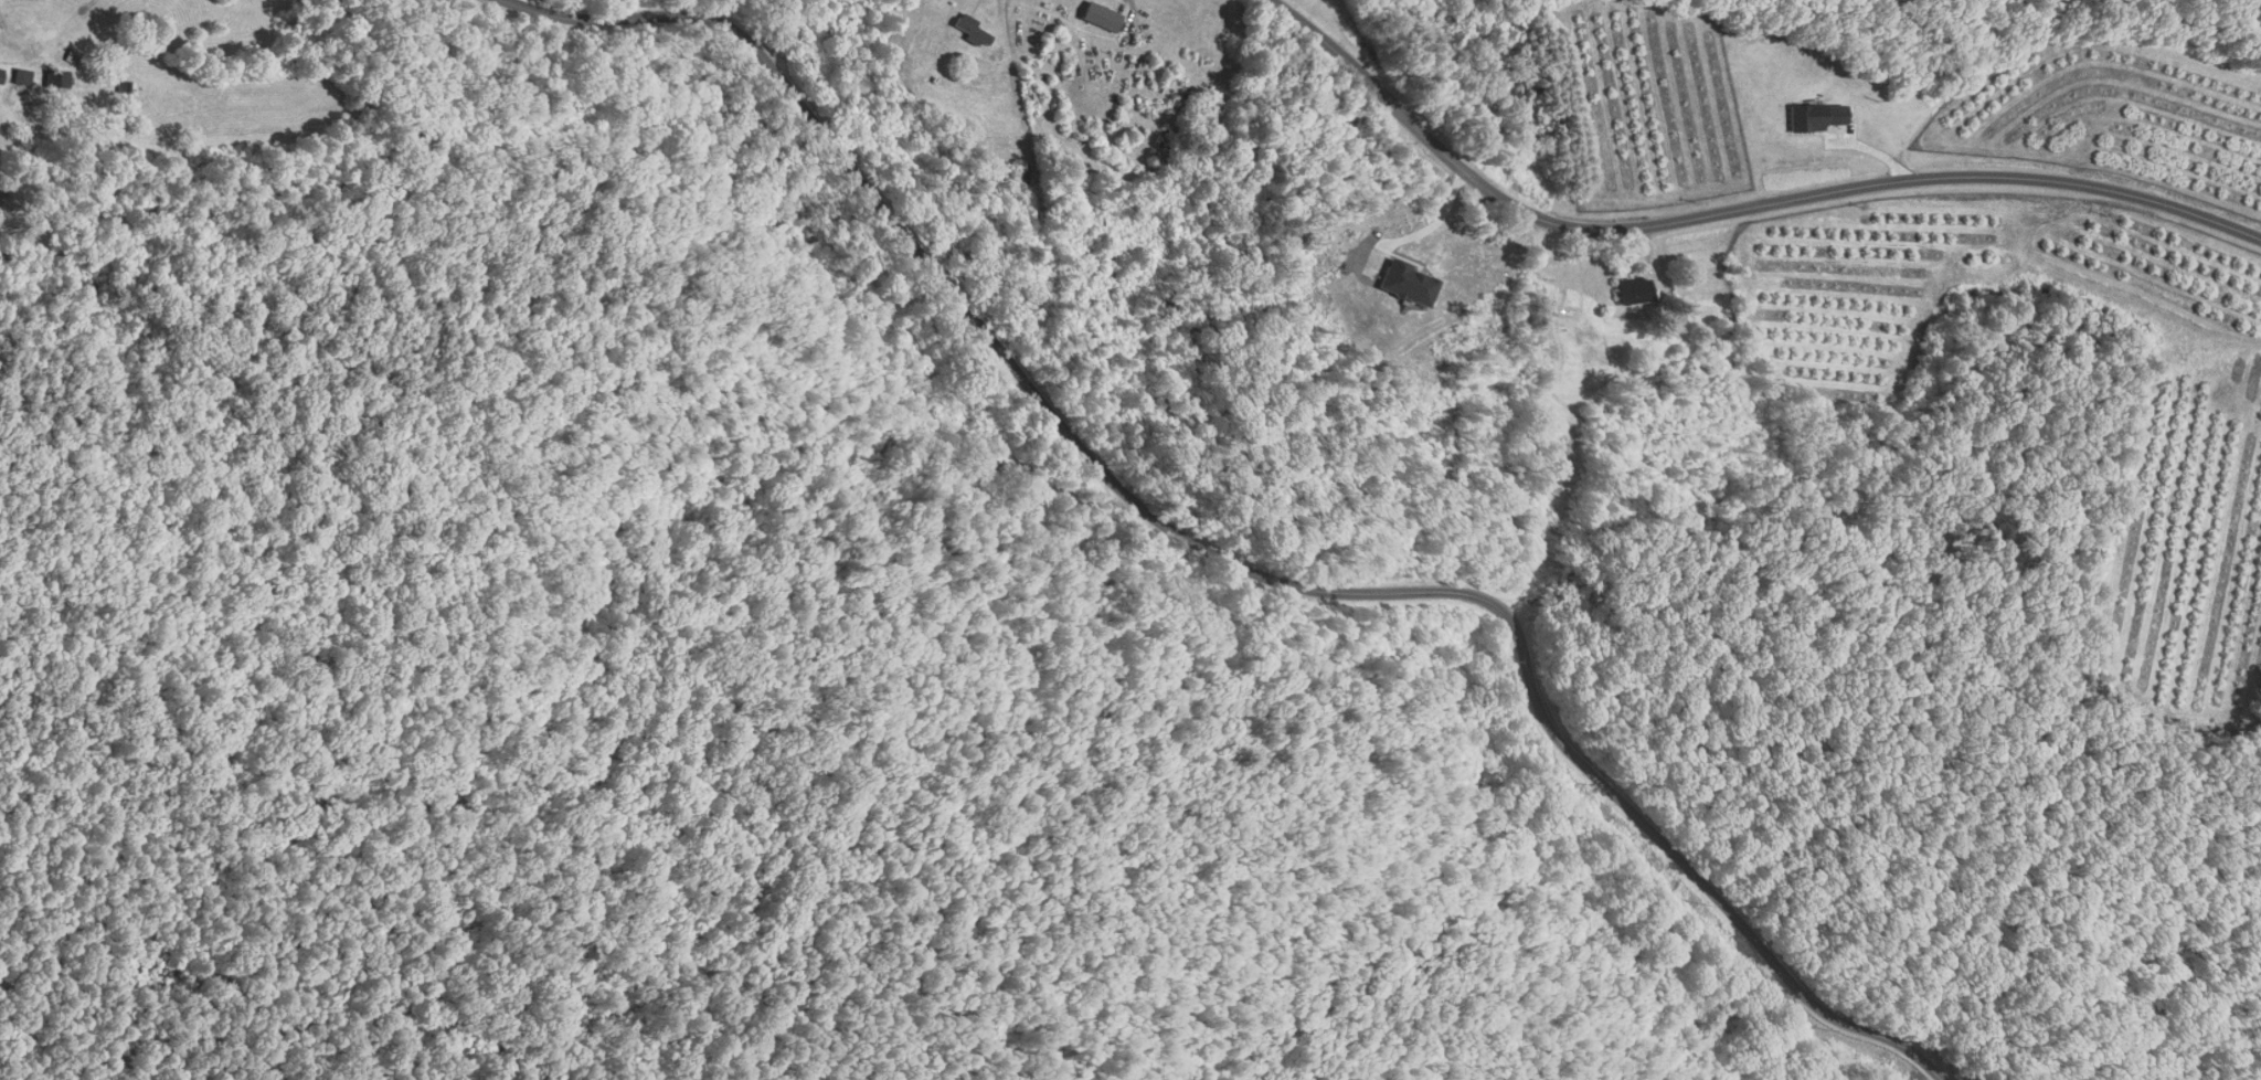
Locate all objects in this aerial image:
building: (1096, 17)
building: (966, 30)
road: (11, 32)
building: (1, 76)
building: (21, 77)
building: (53, 78)
building: (1816, 117)
road: (1733, 205)
building: (1626, 290)
road: (1229, 558)

